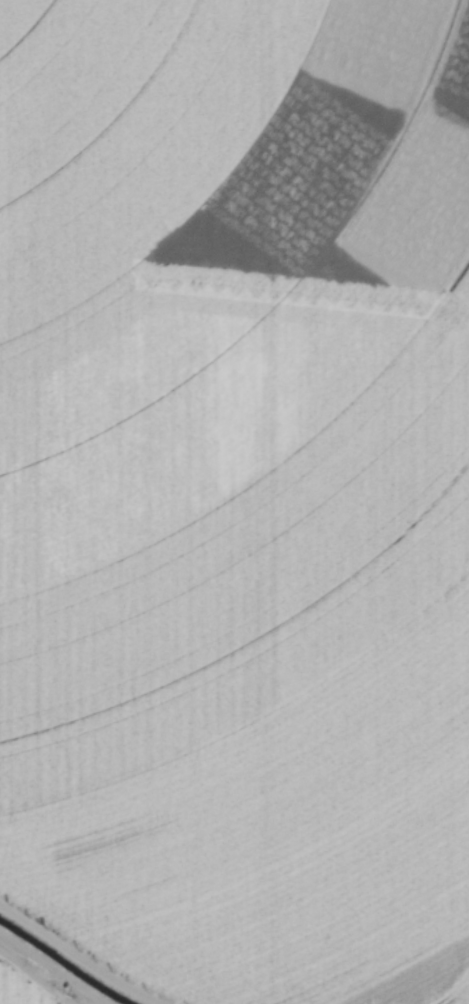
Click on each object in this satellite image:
road: (83, 956)
road: (56, 966)

